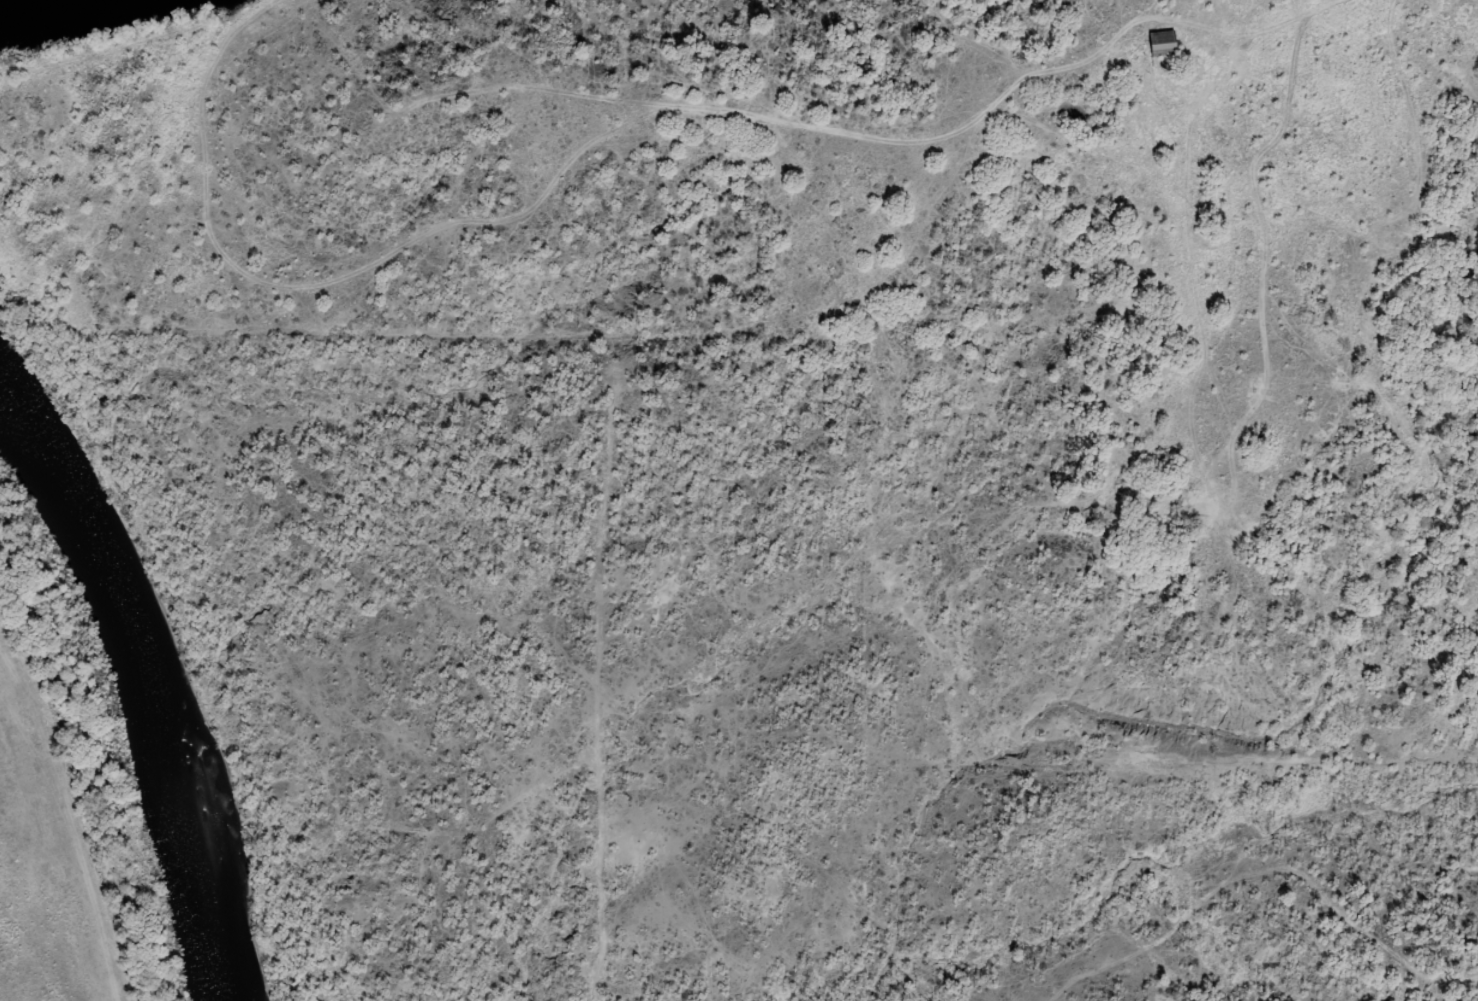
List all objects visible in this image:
building: (1164, 44)
road: (1294, 73)
road: (1387, 103)
road: (1291, 221)
river: (148, 685)

